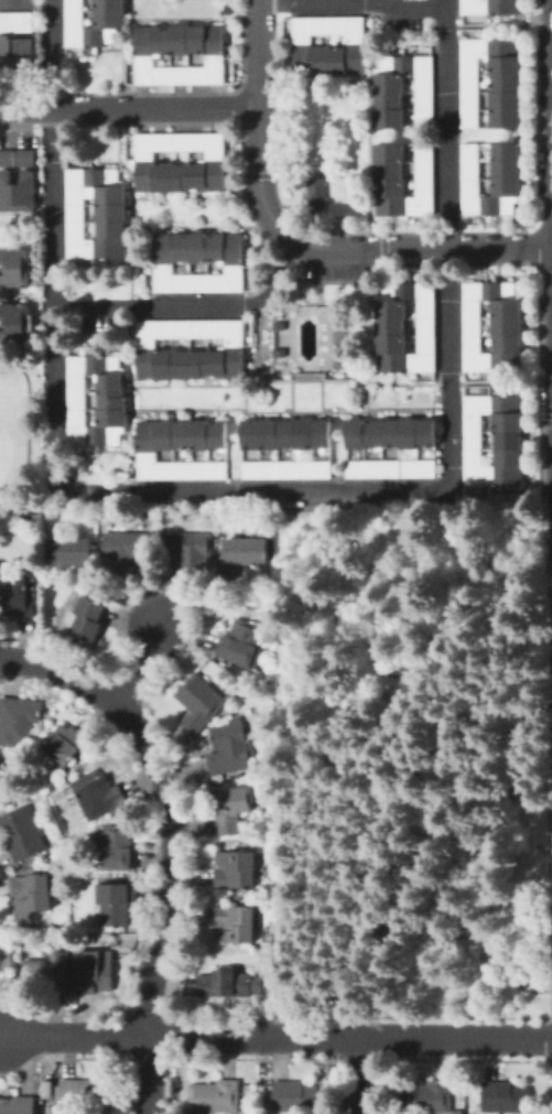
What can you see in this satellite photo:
road: (15, 0)
road: (353, 3)
building: (490, 7)
building: (109, 13)
building: (17, 23)
building: (328, 46)
building: (180, 54)
building: (15, 57)
building: (507, 83)
building: (403, 90)
road: (129, 109)
road: (260, 118)
road: (447, 123)
building: (145, 156)
building: (24, 158)
building: (7, 159)
building: (507, 170)
building: (404, 181)
building: (17, 193)
building: (314, 193)
building: (111, 209)
road: (53, 248)
road: (413, 249)
building: (198, 261)
building: (15, 268)
road: (193, 307)
building: (15, 324)
building: (390, 327)
building: (493, 327)
building: (155, 350)
building: (113, 402)
park: (22, 429)
building: (391, 433)
road: (26, 434)
building: (509, 448)
building: (89, 450)
building: (156, 450)
building: (261, 450)
building: (391, 469)
building: (475, 489)
road: (375, 490)
building: (71, 551)
building: (126, 551)
building: (190, 551)
building: (247, 551)
building: (21, 595)
building: (86, 619)
building: (243, 645)
building: (208, 664)
road: (143, 668)
building: (234, 669)
road: (61, 673)
road: (432, 682)
road: (342, 684)
building: (236, 691)
building: (201, 703)
building: (18, 720)
building: (68, 745)
building: (230, 748)
park: (413, 763)
building: (264, 765)
building: (99, 794)
road: (465, 797)
building: (232, 809)
building: (23, 833)
building: (118, 848)
road: (173, 866)
building: (236, 869)
building: (32, 895)
building: (117, 902)
building: (237, 924)
road: (446, 924)
building: (1, 958)
road: (336, 969)
building: (55, 972)
building: (96, 972)
building: (230, 984)
road: (549, 1001)
road: (549, 1026)
road: (275, 1038)
road: (362, 1075)
road: (151, 1077)
building: (85, 1095)
building: (215, 1096)
building: (295, 1097)
building: (426, 1097)
building: (505, 1097)
building: (18, 1105)

